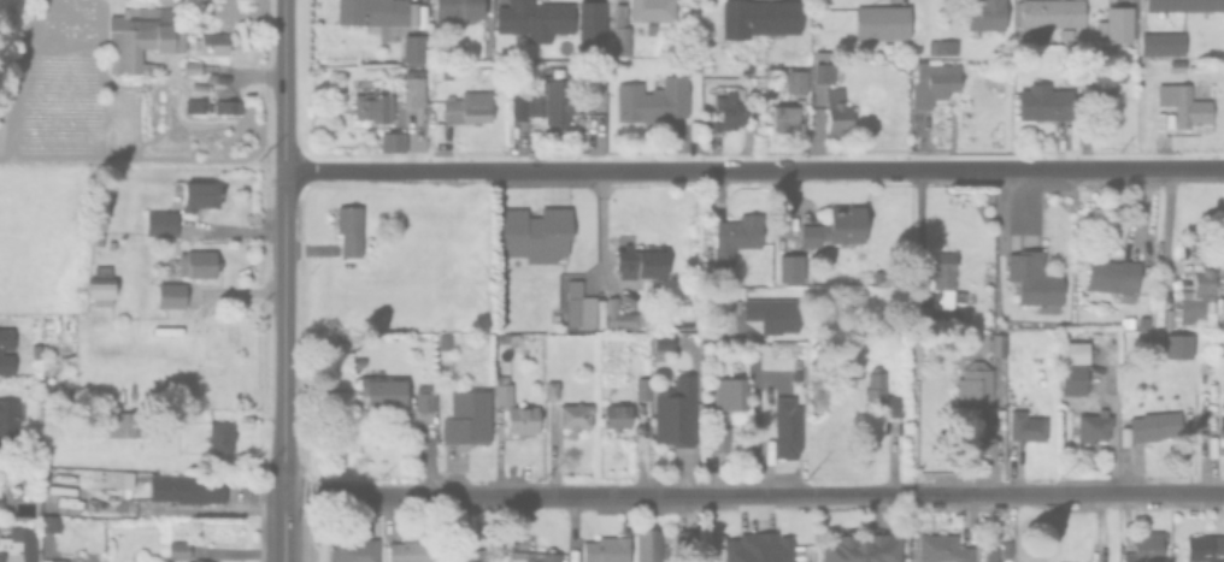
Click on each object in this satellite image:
building: (1184, 5)
building: (459, 10)
building: (654, 10)
building: (375, 12)
building: (988, 14)
building: (763, 17)
building: (1049, 17)
building: (537, 18)
building: (884, 20)
building: (1122, 23)
building: (594, 29)
building: (623, 31)
building: (141, 43)
building: (212, 43)
building: (1165, 43)
building: (945, 46)
building: (414, 49)
building: (824, 54)
building: (1181, 65)
building: (193, 66)
building: (1205, 67)
building: (831, 72)
building: (799, 81)
building: (935, 82)
building: (1102, 82)
building: (416, 88)
building: (657, 99)
building: (548, 100)
building: (1049, 102)
building: (205, 106)
building: (229, 106)
building: (375, 106)
building: (470, 107)
building: (1189, 107)
building: (788, 111)
building: (731, 112)
building: (838, 113)
building: (394, 141)
road: (752, 170)
building: (196, 193)
building: (163, 223)
building: (840, 226)
building: (351, 229)
building: (537, 233)
building: (738, 237)
road: (601, 239)
road: (281, 248)
building: (640, 259)
building: (195, 264)
building: (794, 267)
building: (866, 276)
building: (1036, 277)
building: (1118, 277)
building: (102, 285)
building: (172, 294)
building: (942, 294)
building: (1197, 300)
building: (582, 304)
building: (618, 313)
building: (776, 313)
building: (1170, 317)
building: (1147, 321)
building: (447, 341)
building: (666, 342)
building: (995, 343)
building: (1183, 344)
building: (1159, 345)
building: (1, 348)
building: (36, 351)
building: (1077, 368)
building: (977, 384)
building: (645, 388)
building: (505, 390)
building: (554, 390)
building: (734, 390)
building: (882, 390)
building: (387, 391)
building: (425, 397)
building: (678, 412)
building: (467, 415)
building: (578, 415)
building: (619, 415)
building: (524, 418)
building: (10, 422)
building: (126, 422)
building: (432, 422)
road: (755, 424)
building: (1096, 426)
building: (1159, 426)
building: (790, 427)
building: (1029, 427)
building: (1220, 430)
building: (1128, 436)
building: (222, 437)
building: (722, 438)
building: (181, 491)
road: (752, 496)
building: (172, 508)
building: (52, 523)
road: (281, 530)
building: (690, 542)
building: (651, 545)
building: (764, 548)
building: (864, 548)
building: (1147, 548)
building: (1204, 548)
building: (180, 549)
building: (610, 549)
building: (946, 549)
building: (17, 550)
building: (355, 550)
building: (987, 550)
building: (413, 551)
building: (995, 551)
building: (552, 554)
building: (476, 555)
building: (54, 561)
building: (1070, 561)

